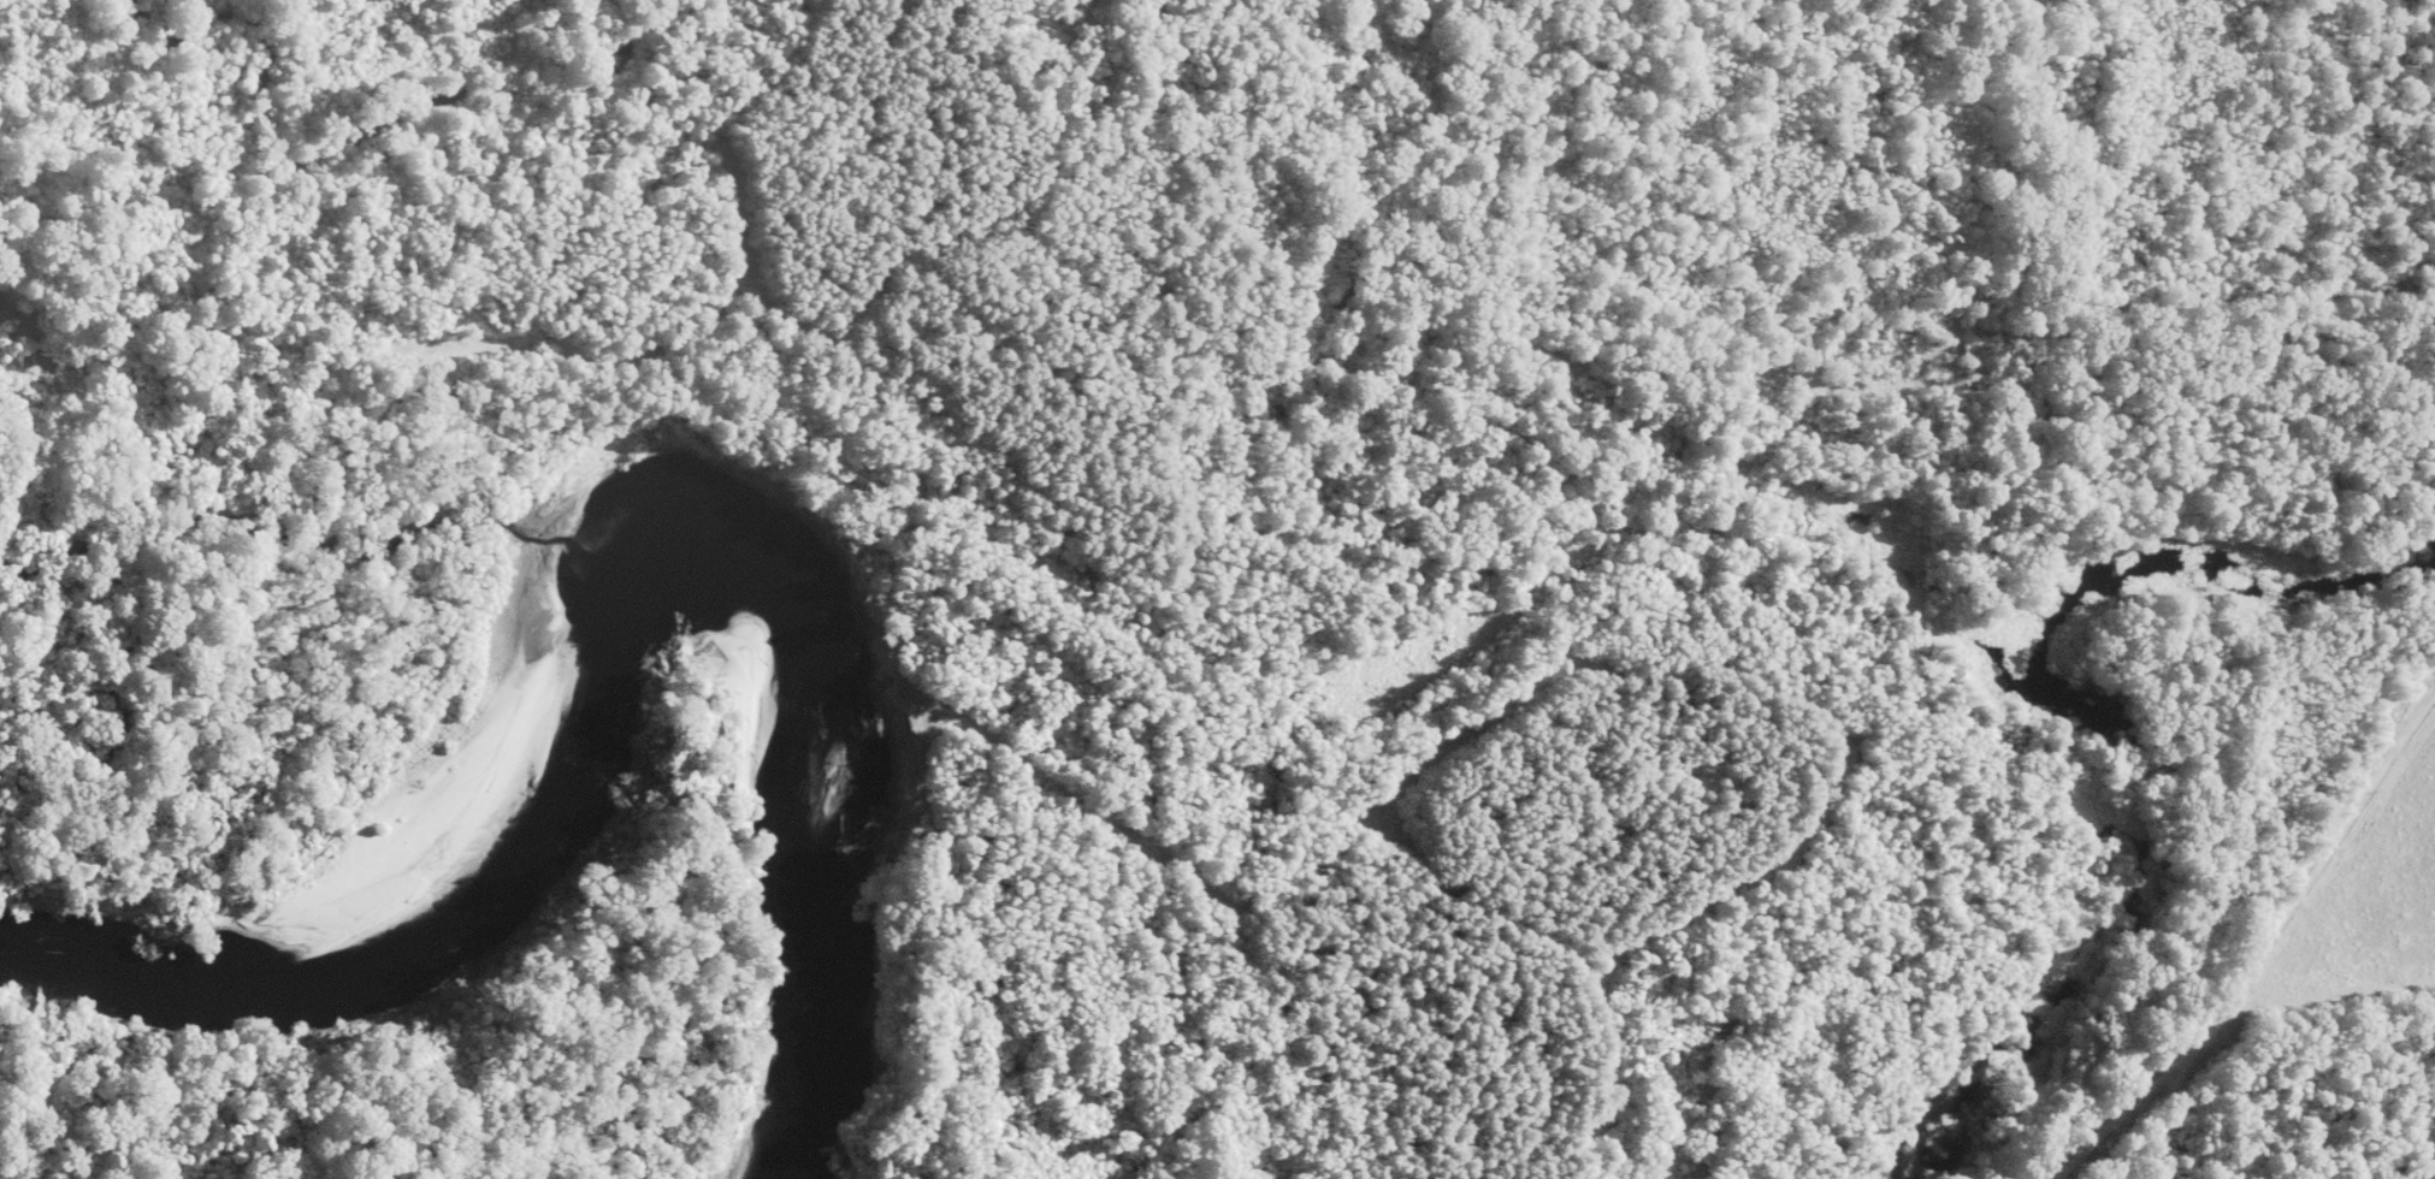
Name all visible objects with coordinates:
road: (717, 230)
river: (575, 544)

